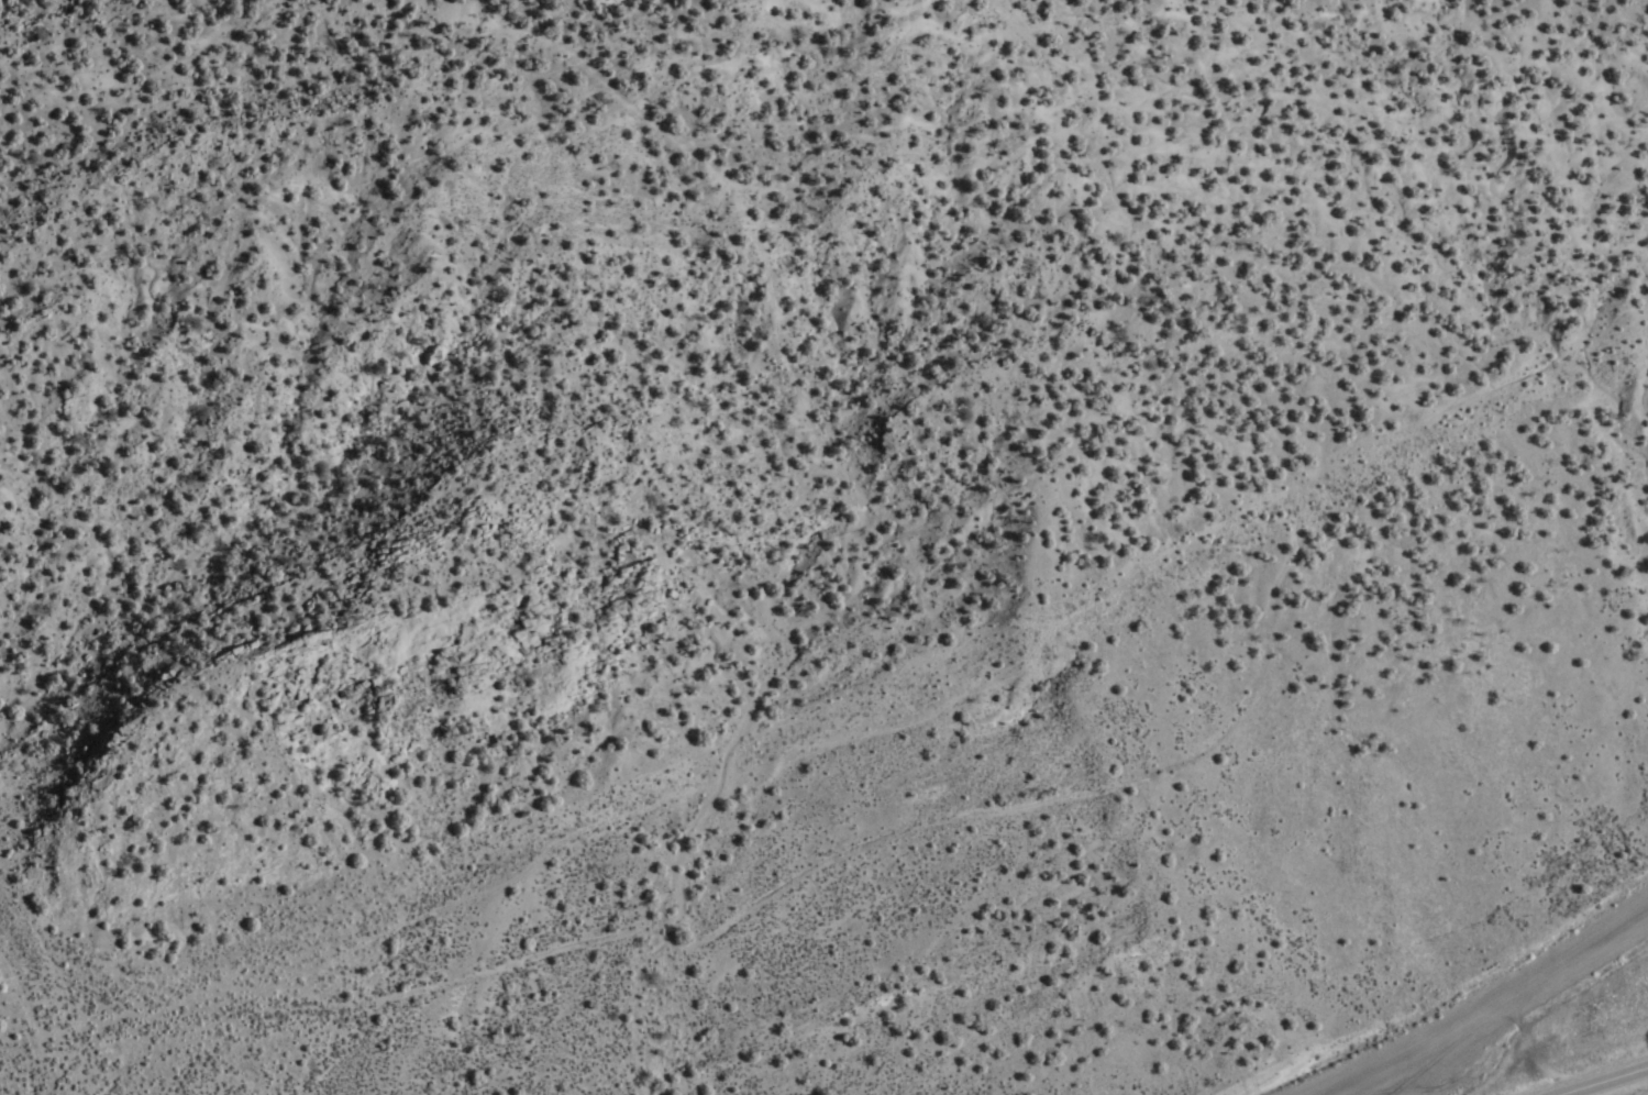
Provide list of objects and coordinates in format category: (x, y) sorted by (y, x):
road: (1486, 1008)
road: (1602, 1081)

